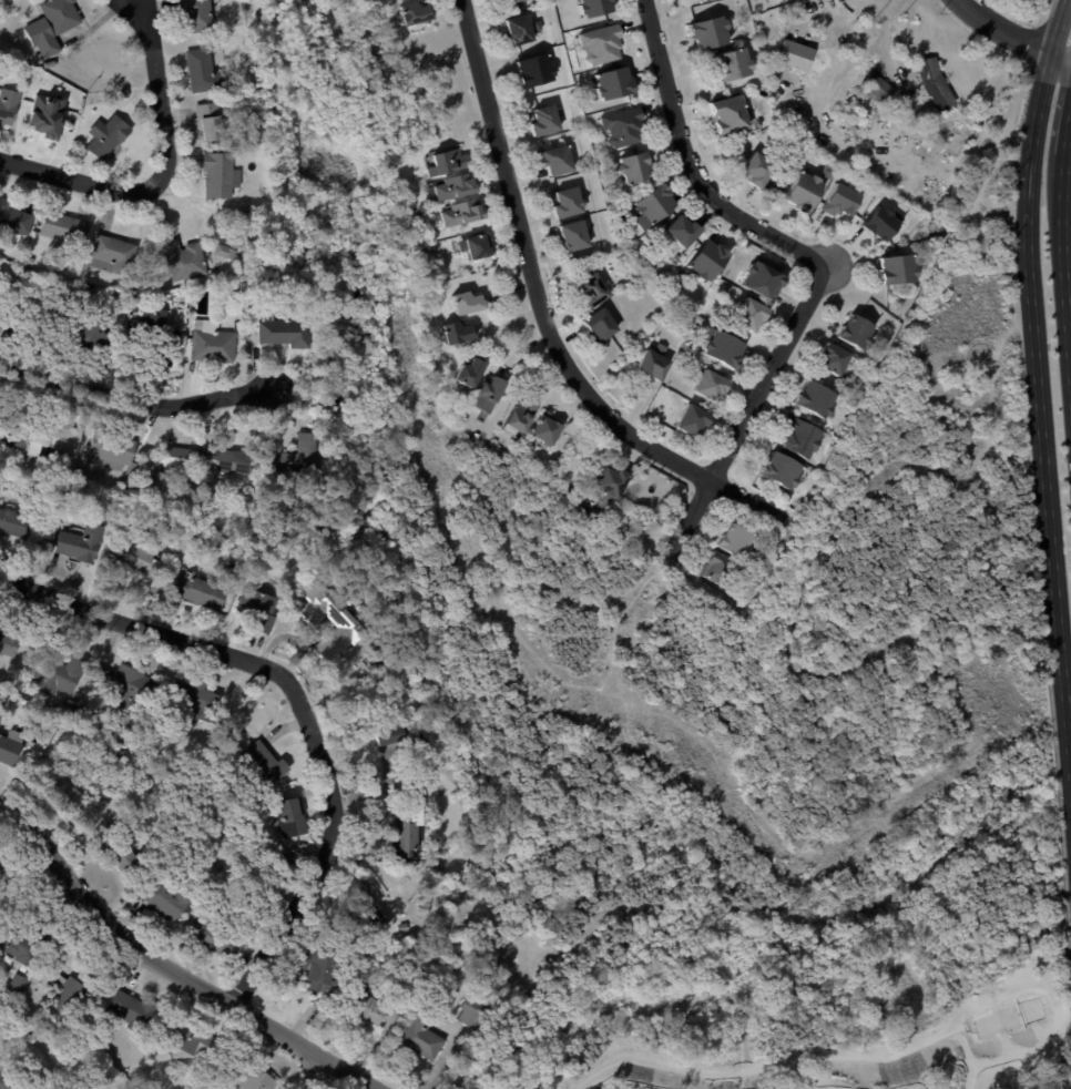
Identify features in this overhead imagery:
building: (514, 0)
building: (246, 6)
building: (594, 7)
building: (415, 12)
building: (61, 14)
building: (197, 16)
road: (1057, 26)
road: (1002, 29)
building: (520, 30)
building: (710, 31)
building: (43, 37)
building: (602, 44)
building: (796, 54)
road: (1060, 55)
building: (50, 63)
building: (736, 63)
building: (203, 71)
building: (537, 71)
building: (614, 83)
building: (938, 83)
building: (879, 86)
building: (125, 93)
building: (8, 105)
building: (728, 113)
building: (45, 115)
building: (545, 120)
building: (211, 121)
building: (623, 126)
road: (1068, 134)
building: (106, 136)
building: (557, 160)
building: (450, 161)
road: (692, 164)
building: (634, 169)
building: (761, 169)
road: (164, 171)
building: (221, 174)
building: (458, 187)
road: (1067, 191)
building: (803, 192)
building: (843, 200)
building: (567, 202)
building: (654, 204)
building: (462, 213)
building: (253, 216)
building: (13, 220)
building: (881, 223)
building: (921, 227)
building: (65, 228)
building: (939, 228)
building: (683, 231)
building: (575, 235)
building: (929, 236)
building: (475, 245)
building: (226, 251)
building: (113, 255)
building: (21, 257)
road: (1062, 257)
building: (679, 258)
building: (186, 259)
building: (32, 261)
building: (708, 261)
building: (897, 269)
building: (31, 272)
building: (451, 273)
building: (662, 276)
building: (764, 279)
building: (237, 289)
building: (725, 289)
building: (229, 291)
building: (595, 291)
building: (468, 303)
building: (48, 312)
building: (753, 315)
road: (542, 317)
building: (2, 319)
building: (601, 326)
building: (287, 333)
building: (458, 333)
building: (858, 333)
building: (157, 335)
building: (93, 337)
building: (212, 344)
building: (723, 347)
building: (835, 358)
building: (654, 363)
building: (472, 373)
building: (712, 386)
building: (489, 395)
building: (816, 399)
road: (135, 400)
road: (745, 409)
building: (522, 416)
road: (1040, 418)
building: (694, 420)
building: (547, 431)
building: (477, 437)
building: (802, 437)
building: (53, 439)
building: (14, 440)
building: (299, 456)
building: (119, 460)
building: (206, 464)
building: (572, 470)
building: (782, 471)
building: (69, 480)
building: (615, 481)
building: (110, 490)
building: (585, 507)
building: (13, 522)
building: (652, 529)
building: (737, 539)
building: (82, 543)
building: (135, 557)
building: (238, 559)
building: (771, 562)
building: (717, 567)
building: (238, 576)
building: (200, 590)
building: (259, 608)
building: (346, 621)
building: (8, 645)
building: (381, 659)
building: (60, 675)
building: (125, 682)
building: (194, 701)
building: (68, 708)
building: (83, 710)
road: (299, 712)
building: (58, 722)
building: (394, 735)
building: (429, 742)
building: (10, 747)
building: (118, 756)
building: (264, 765)
building: (427, 785)
building: (64, 793)
building: (293, 820)
building: (409, 831)
building: (119, 851)
building: (3, 865)
building: (497, 876)
building: (163, 898)
building: (425, 910)
building: (405, 928)
building: (215, 937)
building: (21, 946)
building: (415, 947)
road: (173, 968)
building: (318, 973)
building: (14, 985)
building: (63, 990)
building: (369, 1005)
building: (132, 1010)
building: (475, 1010)
building: (30, 1037)
building: (424, 1038)
building: (192, 1040)
road: (312, 1072)
building: (255, 1080)
building: (12, 1082)

